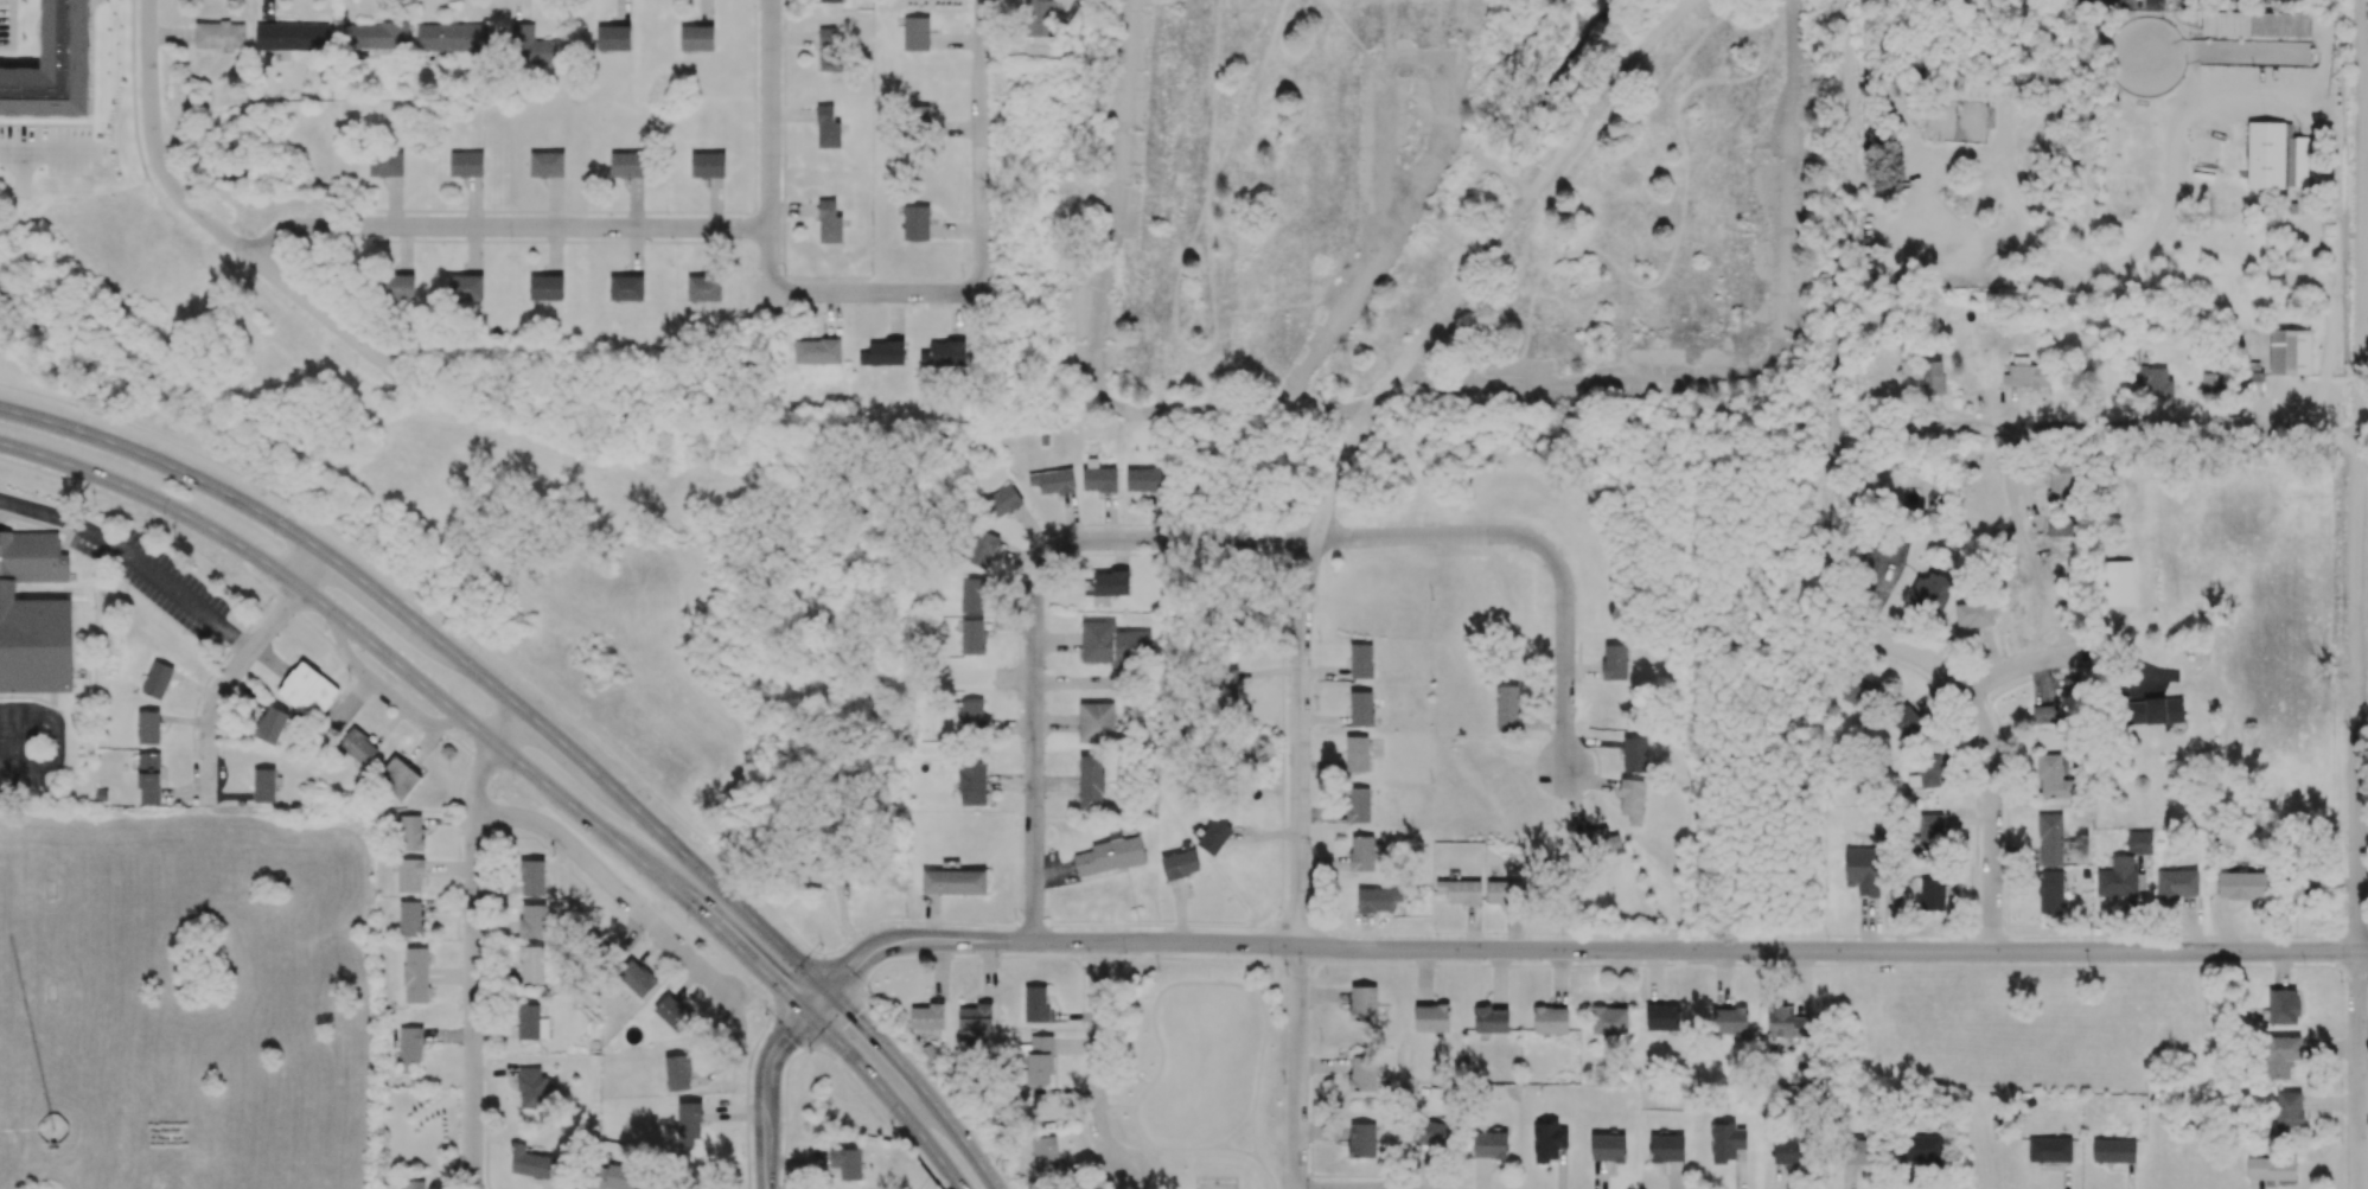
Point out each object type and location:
building: (830, 1)
building: (1039, 18)
building: (2279, 24)
building: (915, 33)
building: (219, 34)
building: (372, 36)
building: (292, 37)
building: (452, 37)
building: (613, 37)
building: (697, 38)
building: (531, 45)
building: (829, 50)
building: (53, 66)
road: (771, 114)
building: (828, 128)
road: (981, 140)
road: (44, 148)
building: (2274, 156)
building: (385, 164)
building: (466, 164)
building: (547, 164)
building: (626, 165)
building: (707, 165)
road: (1786, 173)
road: (1115, 200)
building: (829, 223)
building: (915, 223)
road: (504, 228)
road: (215, 229)
road: (1381, 238)
road: (1842, 279)
building: (401, 287)
building: (466, 287)
building: (545, 288)
building: (626, 288)
building: (704, 288)
road: (849, 294)
building: (1993, 307)
building: (817, 351)
building: (2290, 352)
building: (882, 353)
building: (944, 354)
building: (2025, 375)
building: (1933, 377)
building: (2152, 383)
building: (2213, 383)
building: (2252, 384)
road: (1442, 385)
road: (1365, 421)
road: (2095, 426)
building: (1099, 479)
building: (1143, 479)
building: (1052, 481)
building: (2061, 482)
building: (1002, 501)
road: (145, 511)
road: (2357, 517)
building: (2062, 526)
road: (1173, 537)
building: (1887, 548)
building: (982, 549)
road: (1549, 549)
road: (133, 558)
building: (1105, 583)
building: (2119, 583)
building: (1930, 592)
building: (972, 595)
building: (1973, 614)
building: (33, 616)
road: (445, 618)
building: (972, 637)
building: (1112, 644)
road: (446, 650)
building: (1361, 660)
building: (1614, 661)
road: (2023, 664)
road: (236, 667)
building: (157, 679)
building: (1226, 688)
road: (428, 690)
building: (308, 691)
building: (1856, 692)
building: (1507, 708)
building: (1361, 709)
building: (2153, 711)
building: (972, 714)
building: (2042, 714)
road: (1980, 721)
building: (1096, 722)
building: (1906, 722)
building: (270, 724)
building: (148, 727)
road: (2363, 731)
road: (57, 734)
building: (358, 747)
road: (1033, 749)
building: (1357, 753)
building: (1634, 754)
building: (1927, 772)
building: (148, 778)
building: (398, 778)
building: (2053, 778)
building: (972, 782)
building: (1090, 782)
building: (266, 784)
road: (528, 792)
building: (1632, 800)
building: (1357, 805)
building: (1930, 830)
building: (410, 832)
building: (1214, 836)
building: (2049, 839)
building: (1595, 840)
building: (2139, 842)
building: (1361, 854)
building: (1110, 855)
building: (1179, 864)
building: (1863, 870)
building: (825, 871)
building: (409, 875)
building: (532, 877)
building: (2120, 878)
building: (953, 882)
building: (2176, 883)
road: (175, 884)
road: (611, 886)
building: (2241, 886)
building: (2303, 887)
building: (1461, 891)
building: (2050, 891)
building: (1500, 893)
building: (1932, 894)
building: (1377, 900)
building: (410, 919)
building: (532, 922)
road: (472, 942)
road: (1583, 948)
road: (2362, 951)
road: (971, 958)
road: (1186, 959)
building: (531, 964)
road: (1295, 964)
road: (1839, 966)
road: (844, 973)
building: (415, 974)
building: (637, 978)
road: (797, 983)
road: (1269, 983)
traffic signals: (829, 992)
road: (818, 1003)
road: (1154, 1003)
building: (1362, 1003)
building: (1035, 1005)
building: (2283, 1006)
building: (674, 1014)
traffic signals: (808, 1015)
building: (927, 1016)
building: (1431, 1017)
building: (1661, 1017)
building: (1491, 1019)
building: (1550, 1019)
building: (1609, 1019)
road: (836, 1021)
building: (1729, 1021)
building: (530, 1022)
building: (975, 1022)
building: (1787, 1023)
road: (790, 1029)
road: (2362, 1036)
building: (409, 1048)
road: (1262, 1056)
building: (2280, 1056)
building: (1040, 1060)
road: (1097, 1062)
road: (1298, 1067)
park: (1200, 1069)
building: (677, 1073)
building: (1362, 1074)
road: (1314, 1076)
road: (919, 1083)
building: (531, 1088)
road: (940, 1089)
road: (767, 1094)
road: (889, 1097)
road: (1116, 1107)
road: (881, 1112)
building: (2289, 1112)
road: (2356, 1112)
building: (689, 1123)
building: (1430, 1132)
road: (1233, 1134)
road: (1252, 1138)
building: (1361, 1140)
building: (1547, 1140)
building: (1725, 1142)
building: (1489, 1144)
road: (1160, 1146)
building: (1608, 1148)
road: (1236, 1149)
building: (1666, 1149)
building: (1922, 1149)
building: (2049, 1150)
building: (2113, 1150)
building: (1789, 1151)
building: (1857, 1152)
building: (1043, 1155)
building: (530, 1163)
building: (847, 1163)
building: (2271, 1168)
road: (1269, 1172)
building: (615, 1175)
building: (408, 1184)
park: (1218, 1184)
road: (473, 1188)

